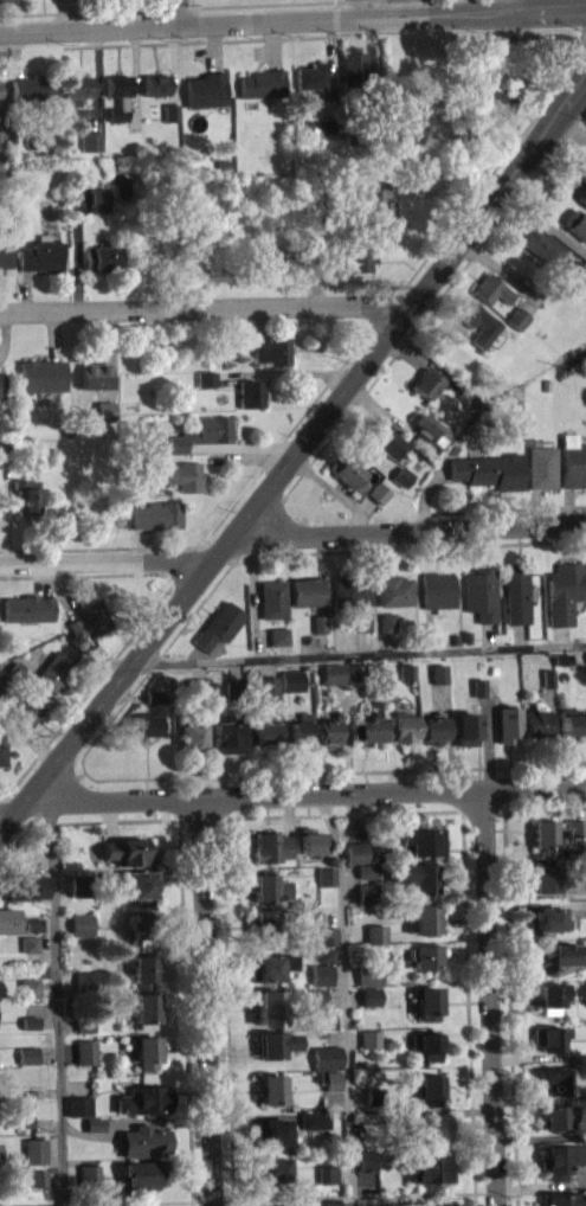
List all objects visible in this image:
building: (7, 1)
road: (198, 6)
road: (505, 6)
road: (400, 7)
road: (356, 8)
road: (180, 12)
road: (292, 19)
building: (564, 51)
building: (354, 72)
building: (311, 84)
road: (582, 86)
building: (156, 91)
building: (262, 91)
building: (118, 92)
building: (34, 96)
building: (79, 96)
building: (206, 97)
building: (0, 103)
building: (494, 110)
building: (120, 117)
road: (578, 118)
building: (170, 120)
road: (529, 120)
street lamp: (582, 120)
building: (1, 147)
building: (91, 148)
building: (582, 165)
building: (581, 175)
street lamp: (487, 184)
building: (582, 193)
building: (582, 204)
building: (99, 207)
building: (376, 210)
building: (575, 220)
building: (539, 240)
building: (4, 262)
building: (41, 263)
building: (102, 264)
building: (359, 267)
building: (573, 278)
street lamp: (410, 283)
building: (490, 286)
building: (574, 288)
building: (491, 296)
road: (202, 307)
building: (516, 314)
building: (476, 320)
building: (517, 325)
building: (270, 347)
road: (400, 347)
road: (281, 370)
building: (205, 374)
building: (426, 380)
building: (43, 383)
building: (96, 383)
building: (206, 385)
building: (249, 390)
building: (427, 390)
building: (1, 392)
building: (466, 393)
building: (105, 418)
building: (426, 421)
road: (291, 423)
building: (197, 430)
street lamp: (294, 434)
building: (431, 437)
building: (386, 441)
building: (4, 447)
road: (290, 454)
building: (572, 458)
building: (540, 463)
building: (488, 464)
building: (347, 470)
building: (178, 472)
building: (401, 473)
building: (403, 483)
building: (376, 489)
building: (24, 494)
building: (379, 500)
road: (578, 503)
street lamp: (234, 508)
road: (496, 508)
building: (154, 512)
road: (405, 531)
road: (577, 539)
road: (122, 545)
road: (102, 563)
building: (307, 589)
building: (395, 589)
building: (439, 589)
street lamp: (169, 590)
building: (352, 590)
building: (483, 591)
building: (566, 591)
building: (520, 595)
building: (273, 597)
building: (27, 605)
building: (92, 614)
road: (140, 618)
building: (362, 618)
building: (388, 620)
building: (318, 622)
building: (75, 623)
building: (219, 623)
building: (318, 631)
building: (76, 634)
building: (278, 634)
road: (358, 653)
building: (562, 657)
building: (53, 667)
building: (18, 668)
building: (331, 672)
building: (406, 672)
building: (438, 672)
building: (354, 673)
building: (547, 676)
building: (2, 679)
building: (291, 679)
building: (195, 686)
building: (478, 686)
building: (265, 687)
building: (492, 687)
building: (233, 688)
road: (133, 689)
building: (154, 694)
building: (156, 704)
building: (25, 707)
building: (573, 720)
building: (535, 721)
building: (146, 723)
building: (508, 723)
building: (400, 726)
building: (465, 726)
building: (300, 727)
building: (432, 727)
building: (367, 729)
building: (263, 730)
building: (327, 731)
building: (191, 734)
building: (225, 734)
building: (2, 750)
road: (534, 764)
road: (308, 794)
road: (4, 795)
road: (54, 795)
road: (534, 807)
road: (9, 812)
road: (352, 812)
road: (350, 816)
road: (327, 817)
building: (556, 829)
building: (420, 839)
building: (310, 840)
road: (15, 843)
building: (270, 847)
building: (355, 851)
building: (122, 858)
building: (366, 870)
building: (416, 874)
building: (324, 875)
building: (547, 875)
building: (366, 878)
building: (140, 883)
building: (24, 884)
building: (82, 884)
building: (269, 886)
building: (365, 892)
building: (9, 917)
building: (424, 917)
building: (550, 918)
building: (34, 920)
building: (263, 922)
building: (82, 923)
building: (142, 925)
building: (375, 934)
building: (327, 936)
building: (30, 941)
road: (183, 943)
building: (30, 950)
building: (324, 955)
building: (426, 955)
building: (561, 955)
building: (324, 962)
building: (269, 966)
building: (142, 968)
building: (321, 974)
building: (369, 974)
building: (28, 986)
building: (85, 987)
road: (226, 989)
building: (30, 995)
building: (371, 996)
building: (552, 996)
building: (315, 997)
road: (489, 997)
road: (58, 1001)
road: (206, 1001)
building: (427, 1001)
building: (269, 1006)
building: (142, 1007)
road: (469, 1007)
road: (510, 1007)
building: (30, 1019)
road: (346, 1021)
building: (84, 1024)
building: (30, 1029)
building: (84, 1032)
building: (549, 1038)
building: (369, 1039)
building: (275, 1043)
building: (427, 1044)
building: (144, 1048)
building: (85, 1050)
building: (27, 1053)
building: (326, 1057)
building: (27, 1063)
building: (331, 1079)
building: (562, 1079)
building: (430, 1086)
building: (271, 1088)
building: (374, 1096)
building: (143, 1097)
building: (78, 1103)
building: (395, 1115)
building: (556, 1116)
building: (313, 1120)
building: (94, 1122)
building: (432, 1125)
building: (94, 1131)
building: (271, 1131)
building: (143, 1140)
building: (33, 1148)
building: (561, 1159)
building: (363, 1161)
building: (429, 1168)
building: (271, 1169)
building: (141, 1173)
building: (90, 1174)
building: (326, 1174)
building: (37, 1175)
building: (38, 1185)
building: (366, 1193)
road: (354, 1194)
building: (561, 1199)
road: (96, 1202)
building: (335, 1202)
building: (290, 1205)
building: (437, 1205)

